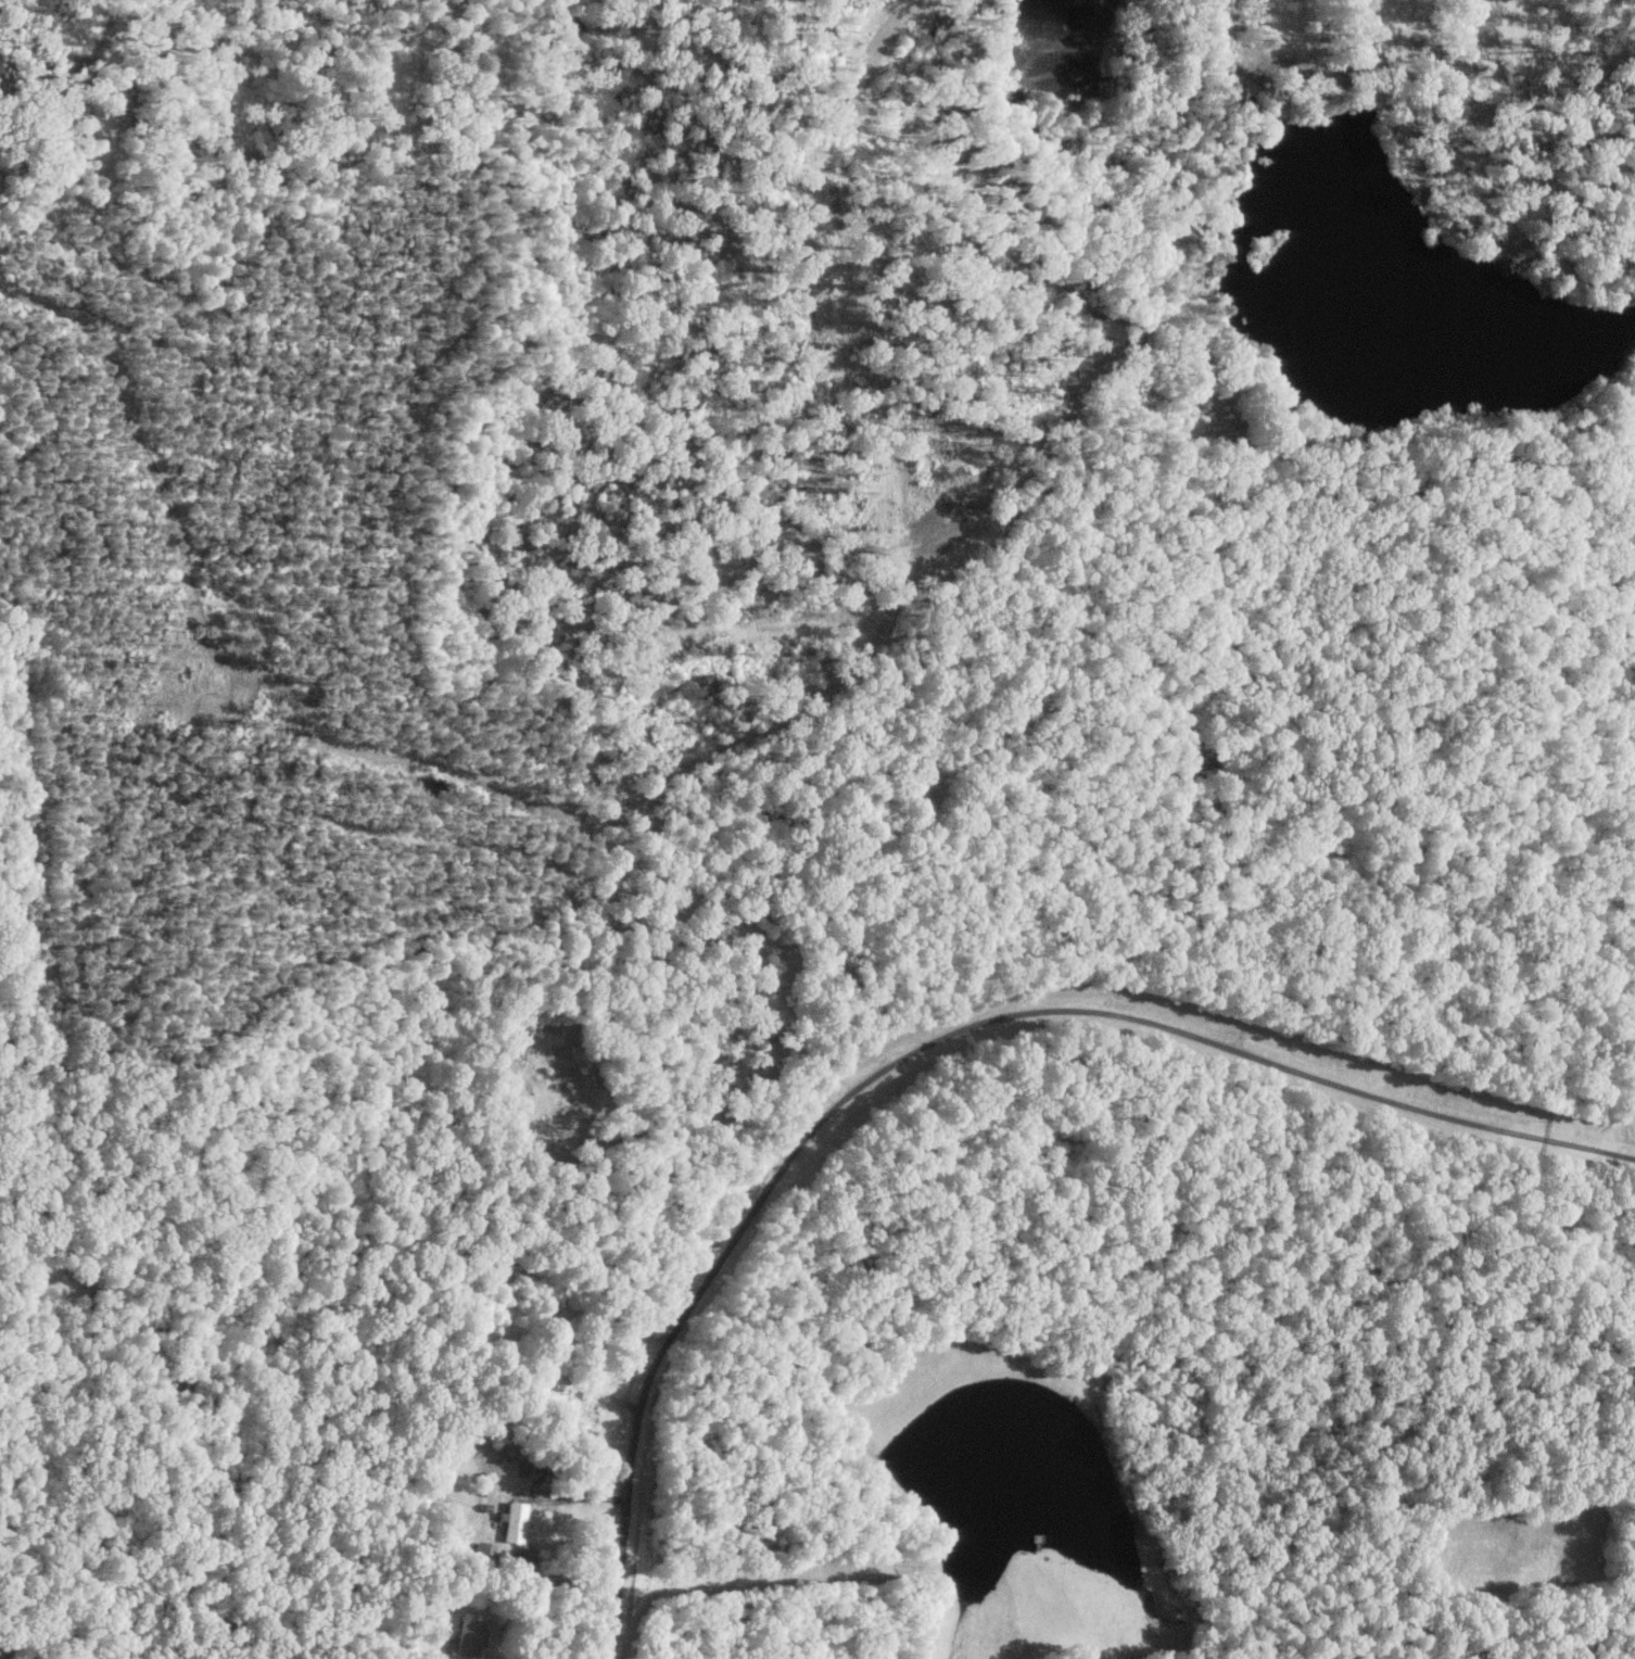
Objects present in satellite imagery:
road: (930, 1043)
road: (545, 1500)
building: (512, 1521)
building: (470, 1635)

